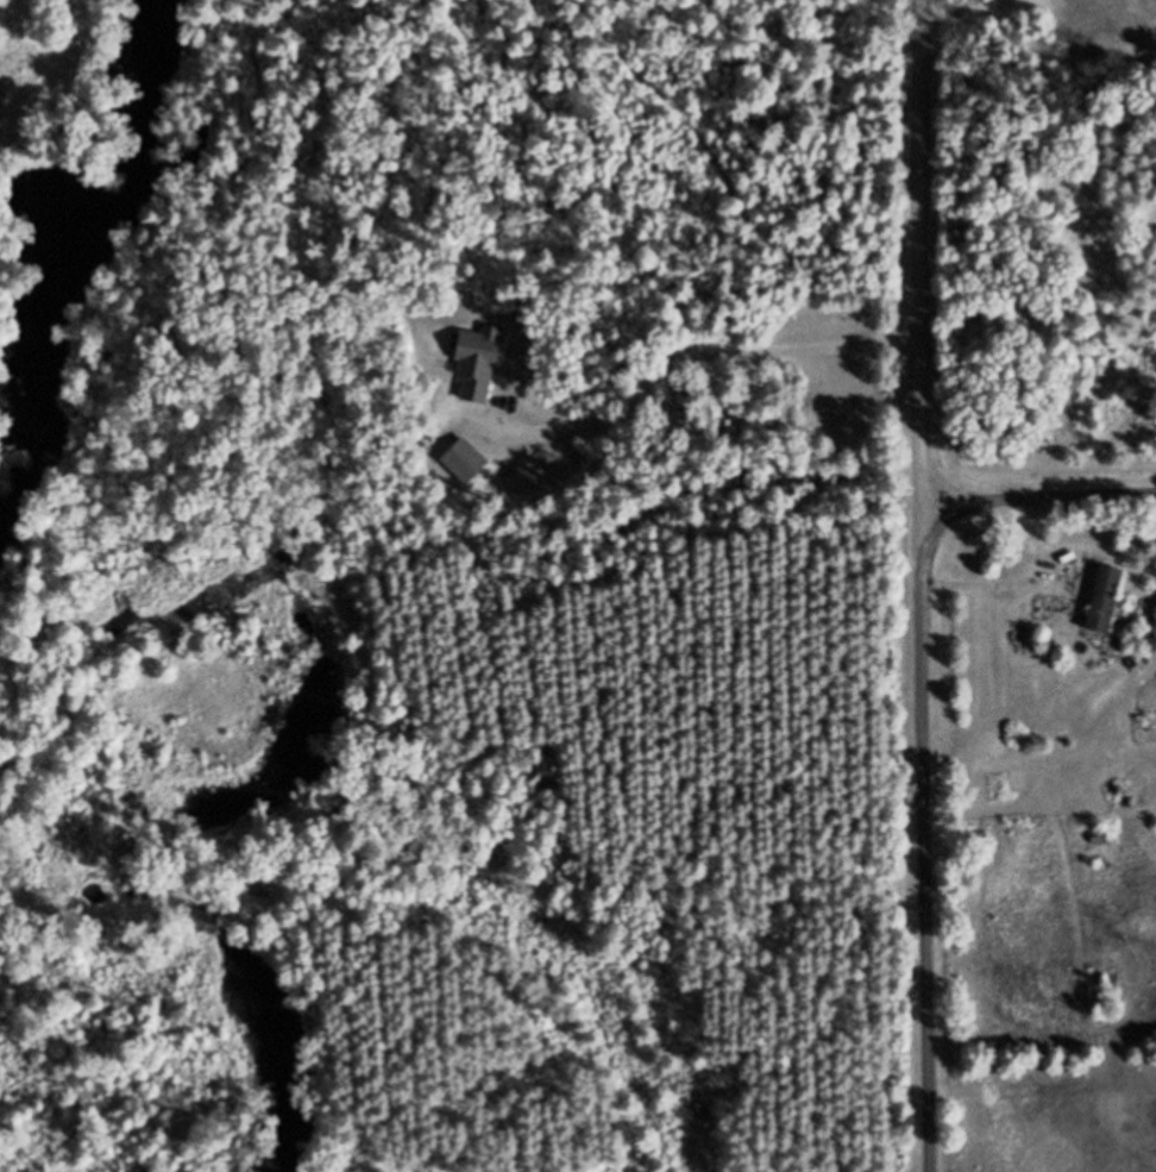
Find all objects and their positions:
road: (1038, 497)
road: (923, 585)
building: (1107, 601)
building: (1101, 840)

